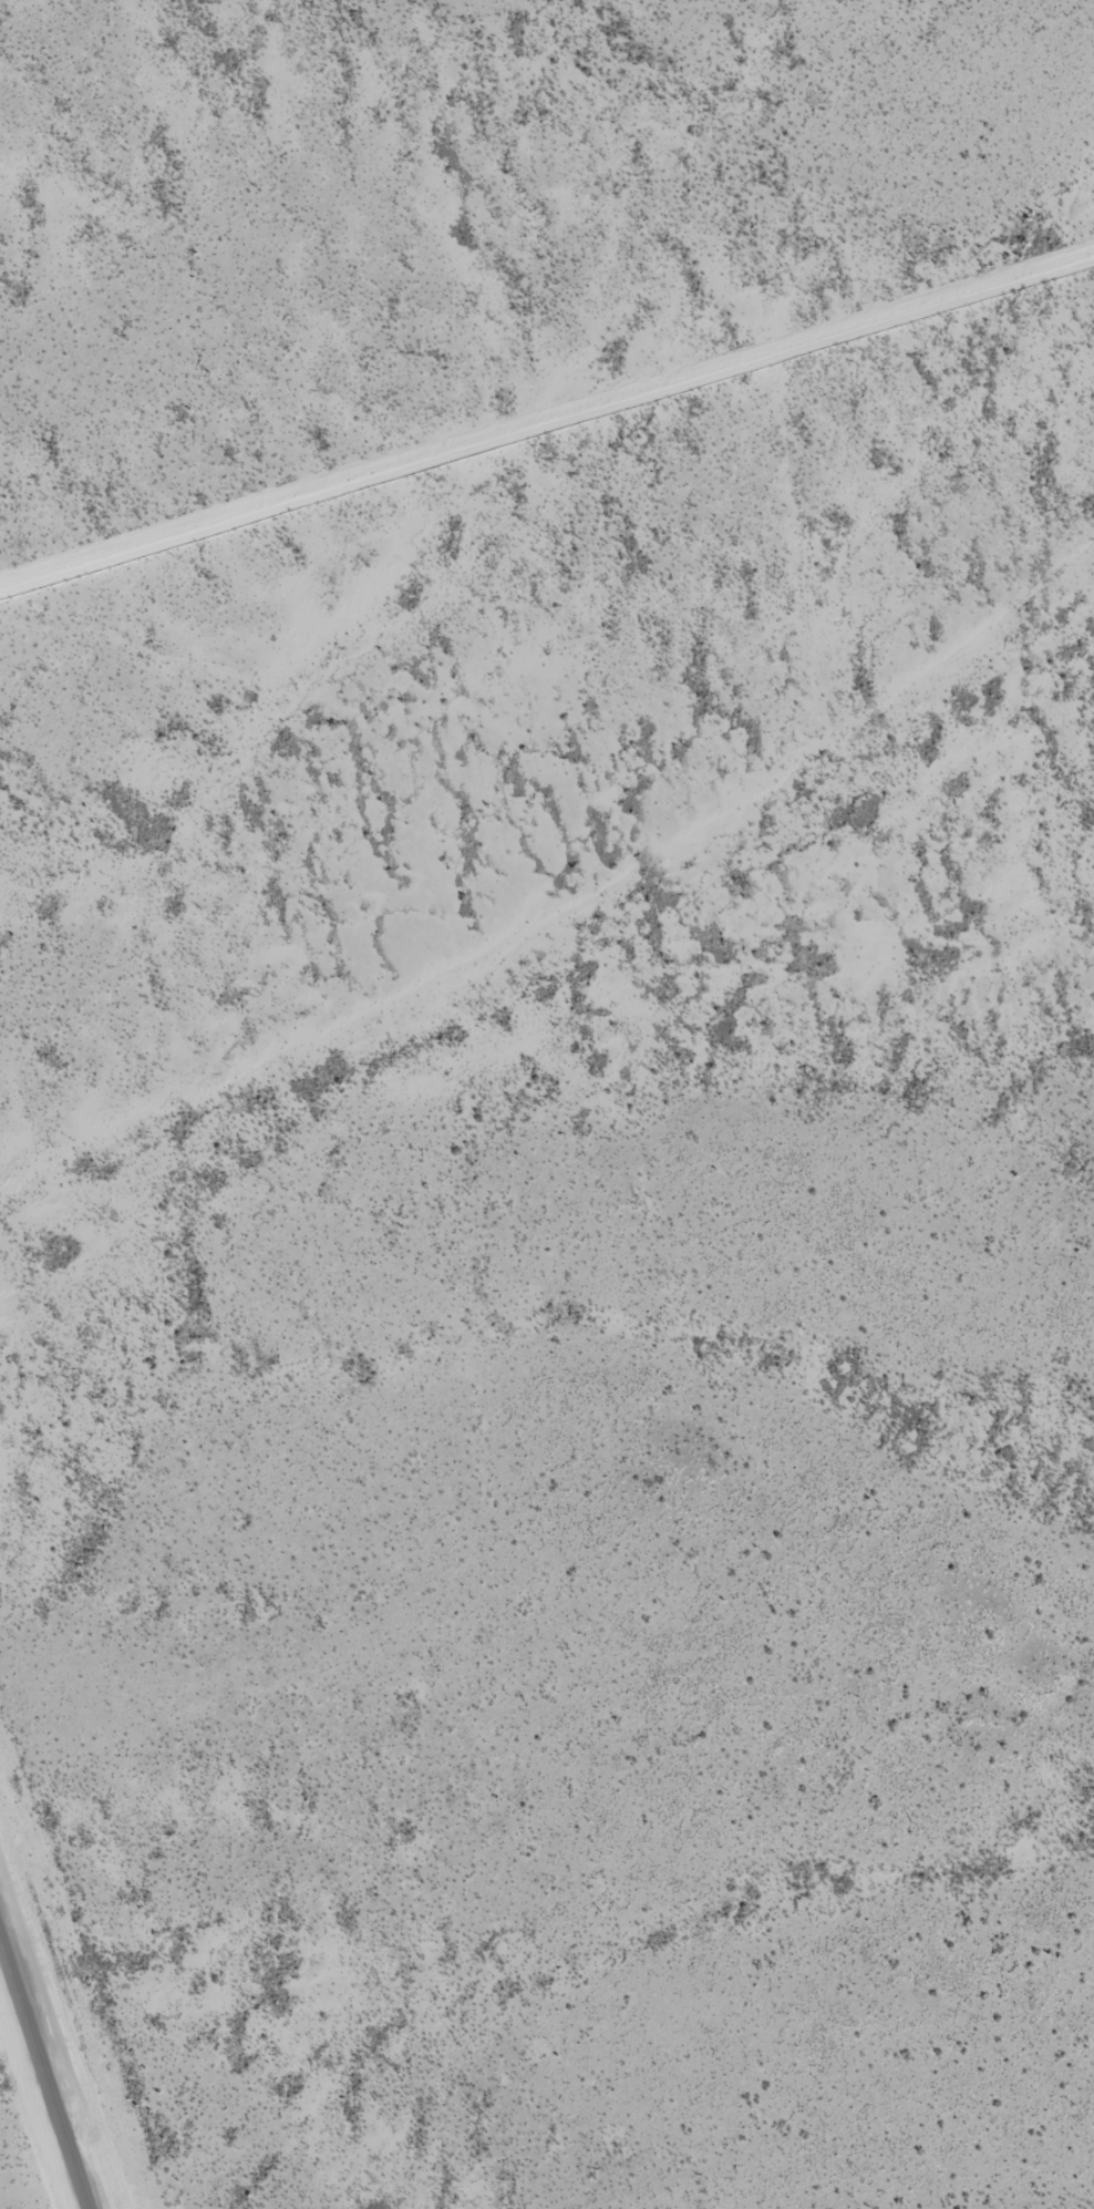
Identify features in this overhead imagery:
road: (49, 2057)

